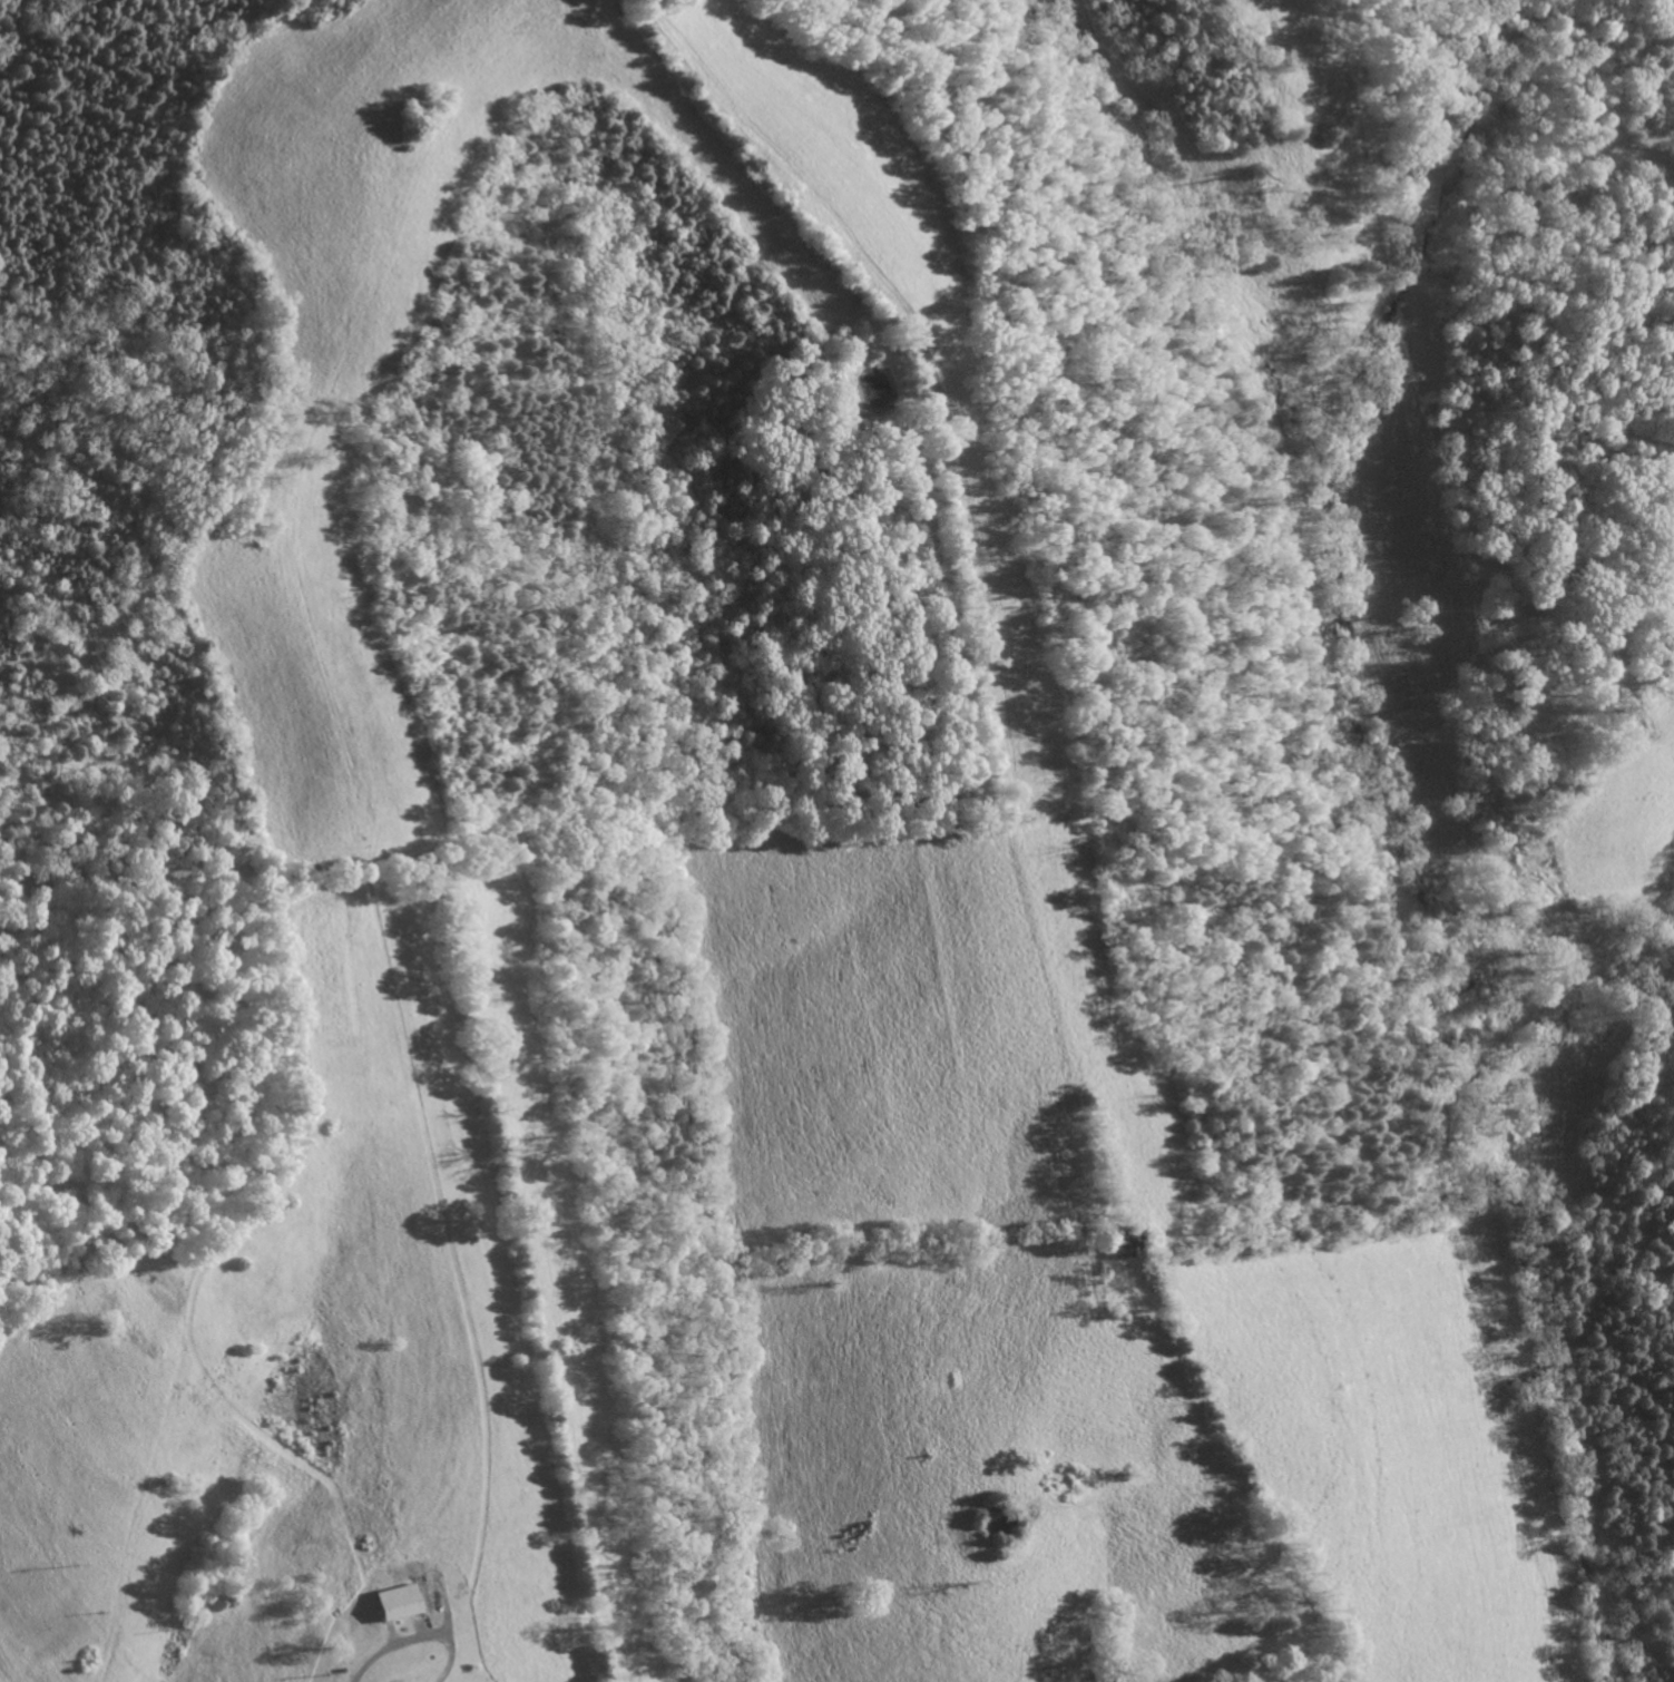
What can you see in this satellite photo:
building: (400, 1602)

